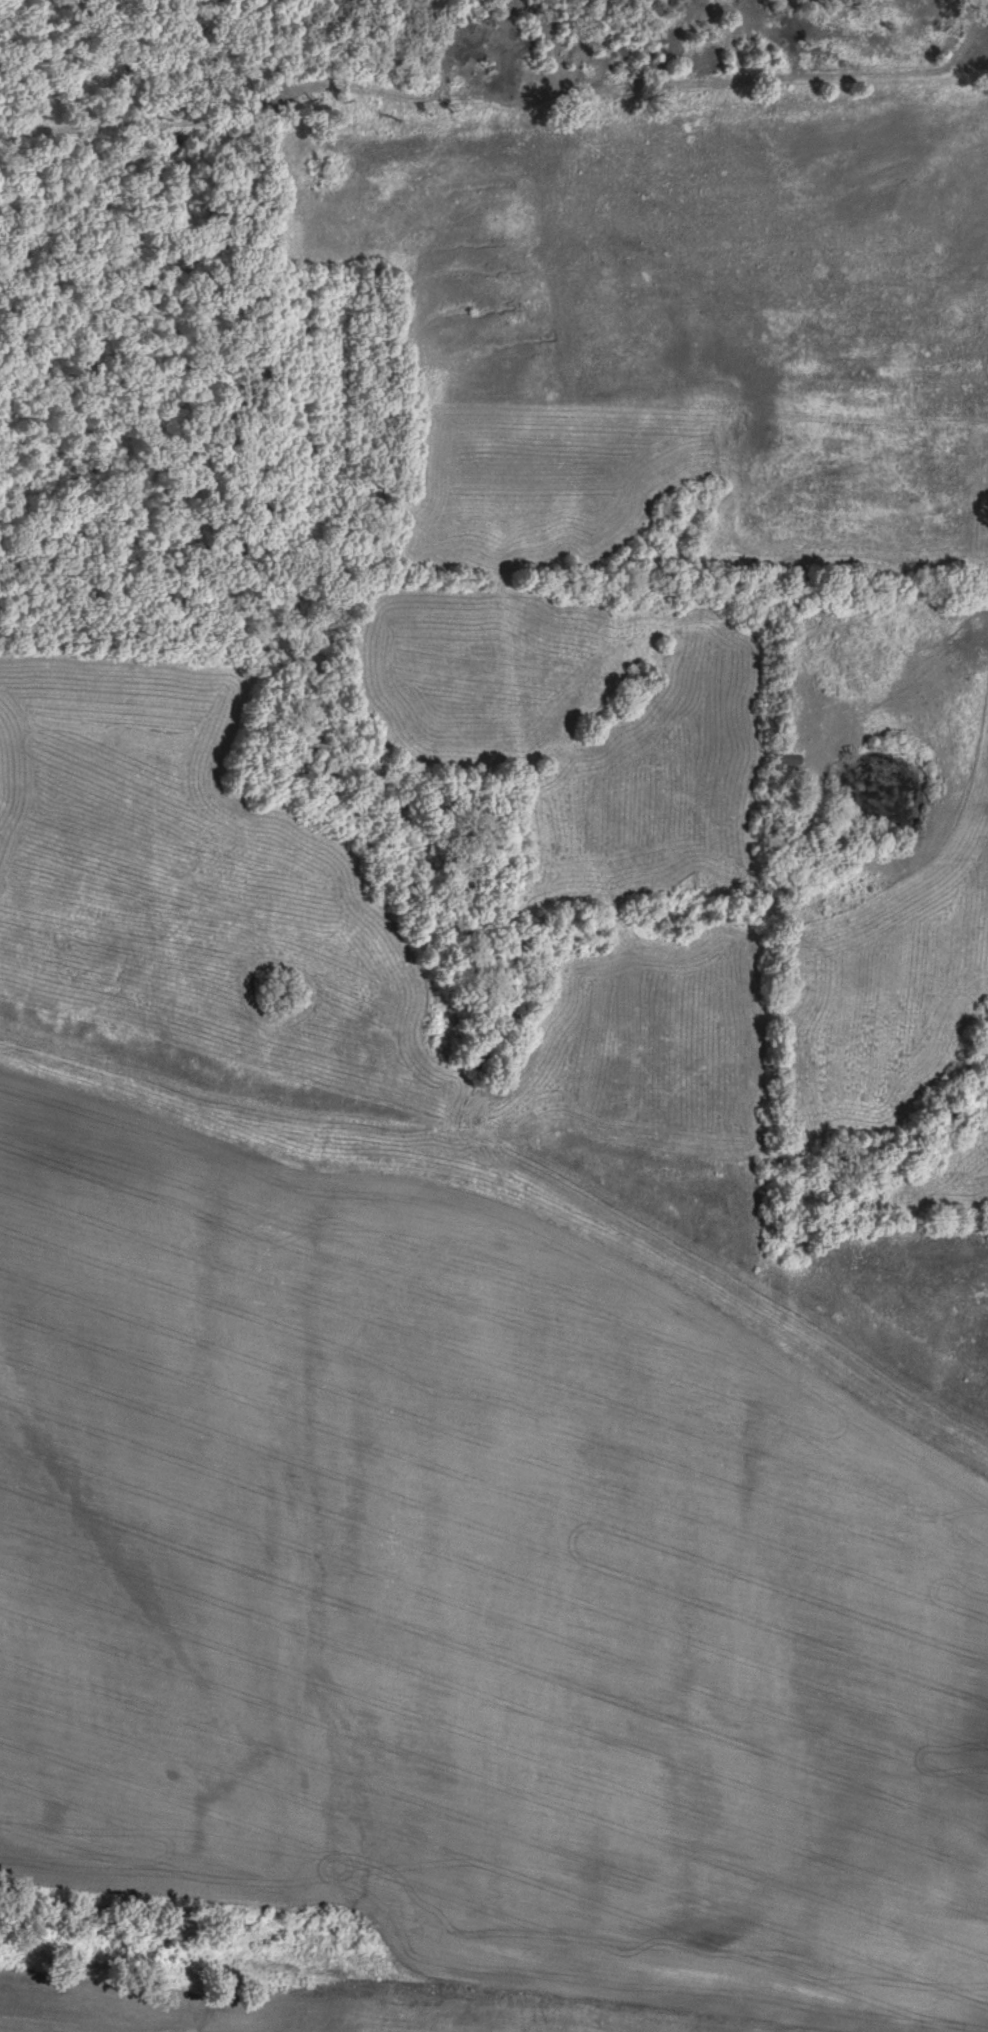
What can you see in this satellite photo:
crop: (140, 1469)
crop: (659, 1579)
crop: (195, 2007)

